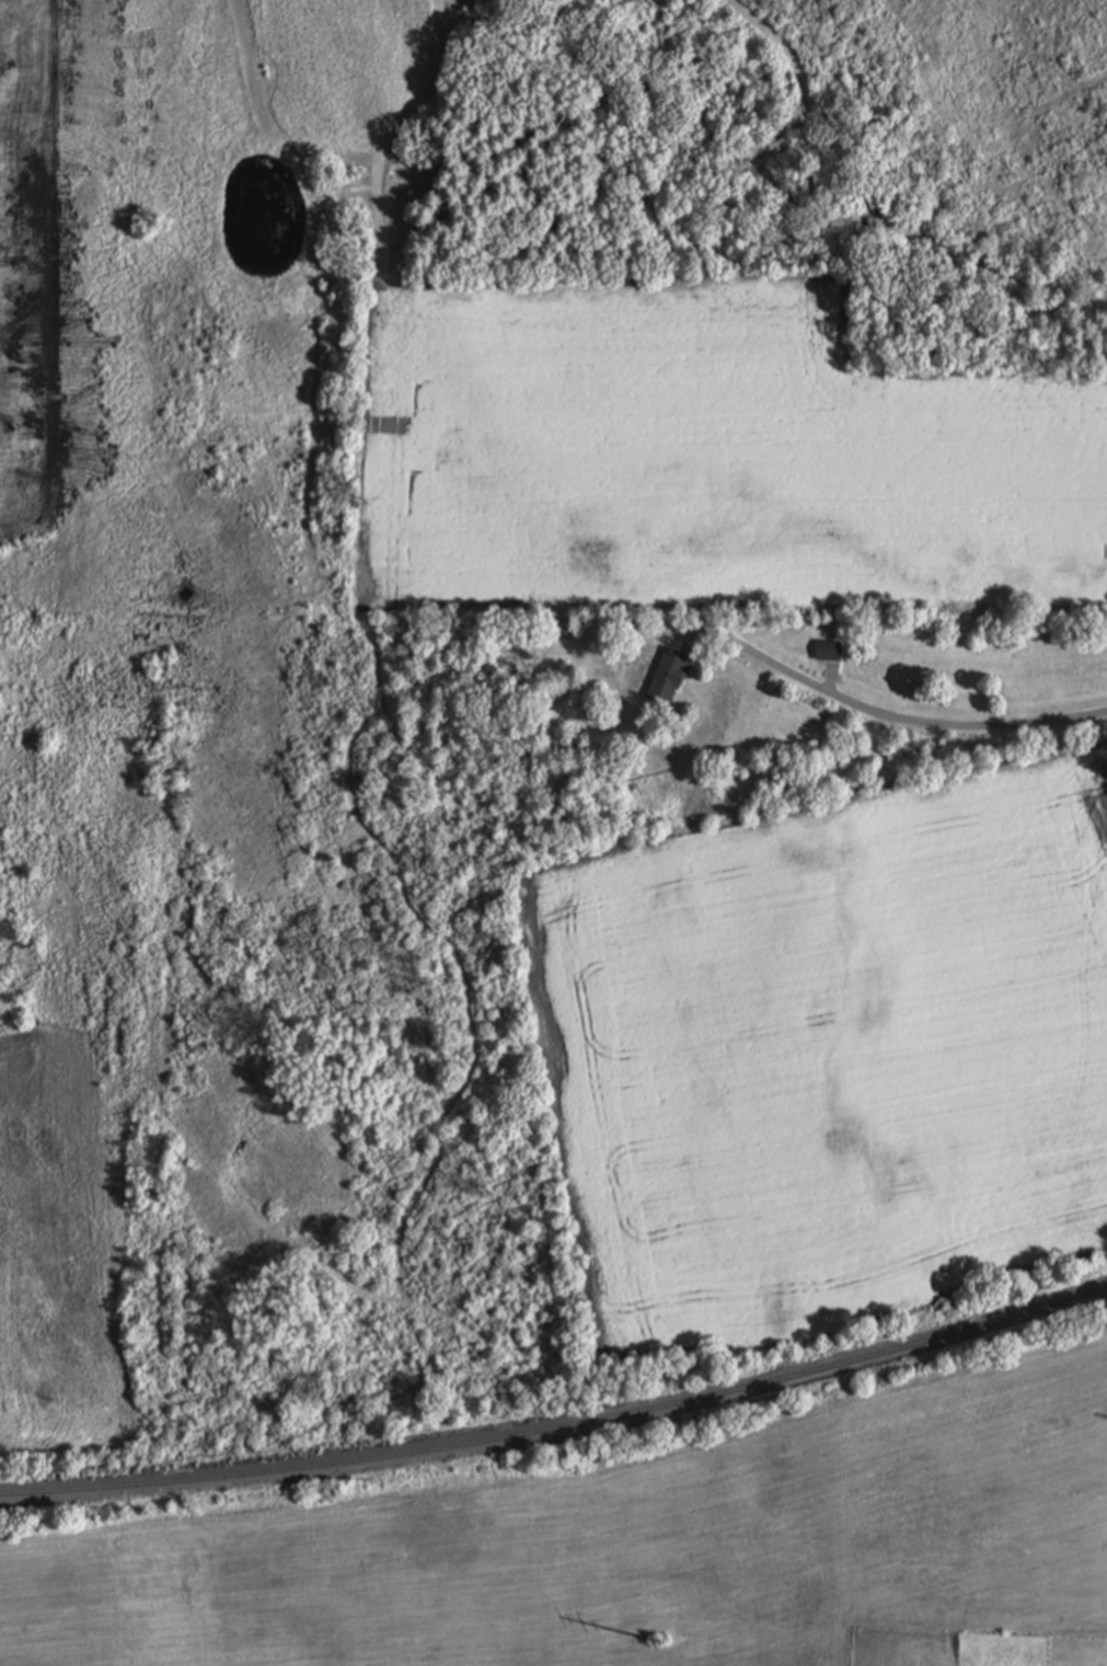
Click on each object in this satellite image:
building: (830, 653)
building: (670, 680)
road: (902, 721)
railway: (561, 1429)
power tower: (991, 1539)
power tower: (669, 1650)

